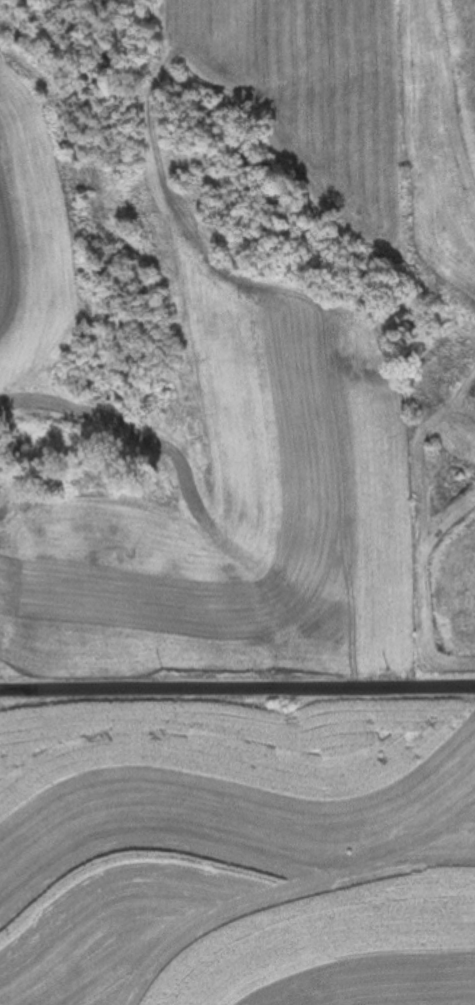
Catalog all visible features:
road: (237, 694)

